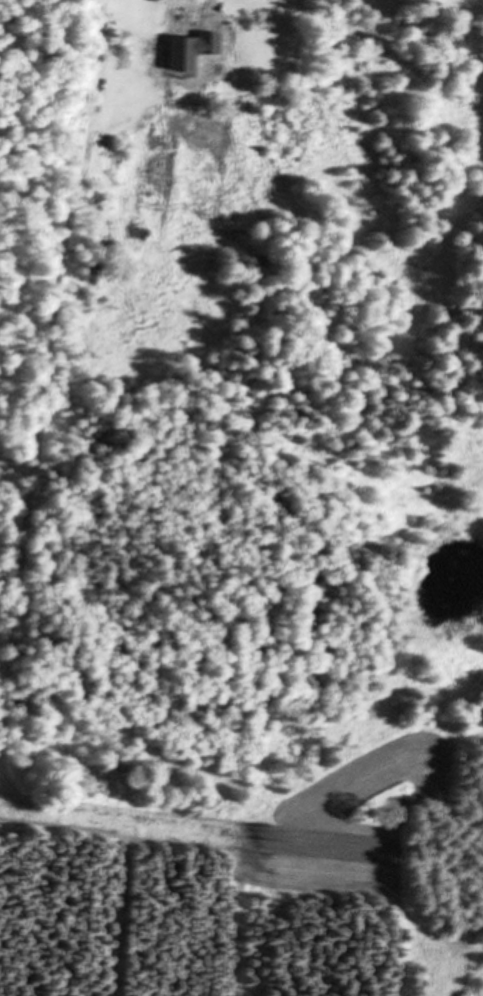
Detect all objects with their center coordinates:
building: (182, 16)

